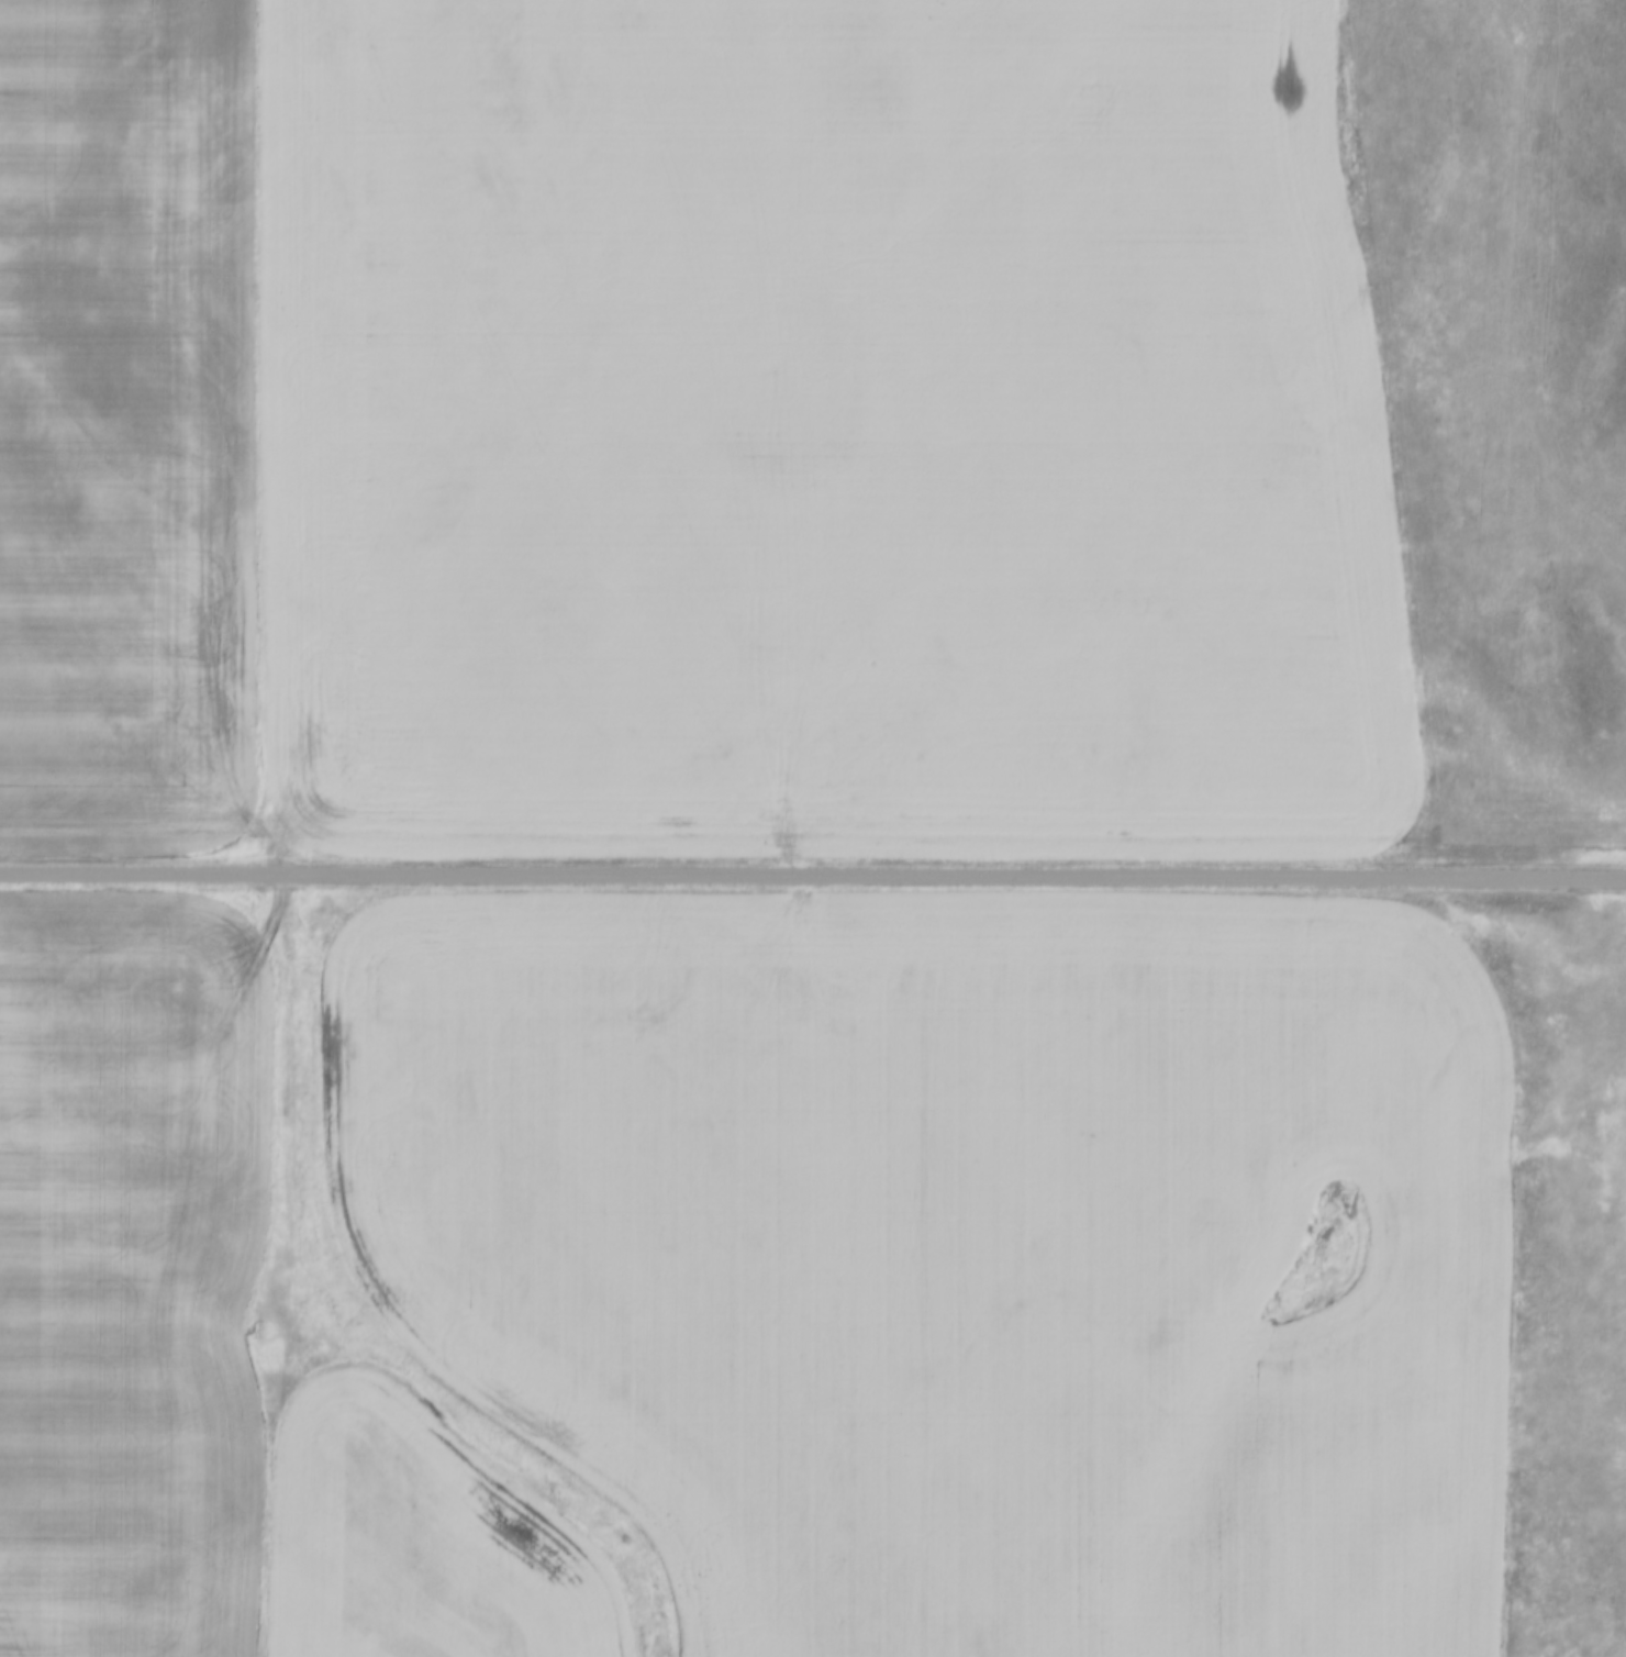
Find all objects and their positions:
road: (813, 872)
road: (292, 1265)

